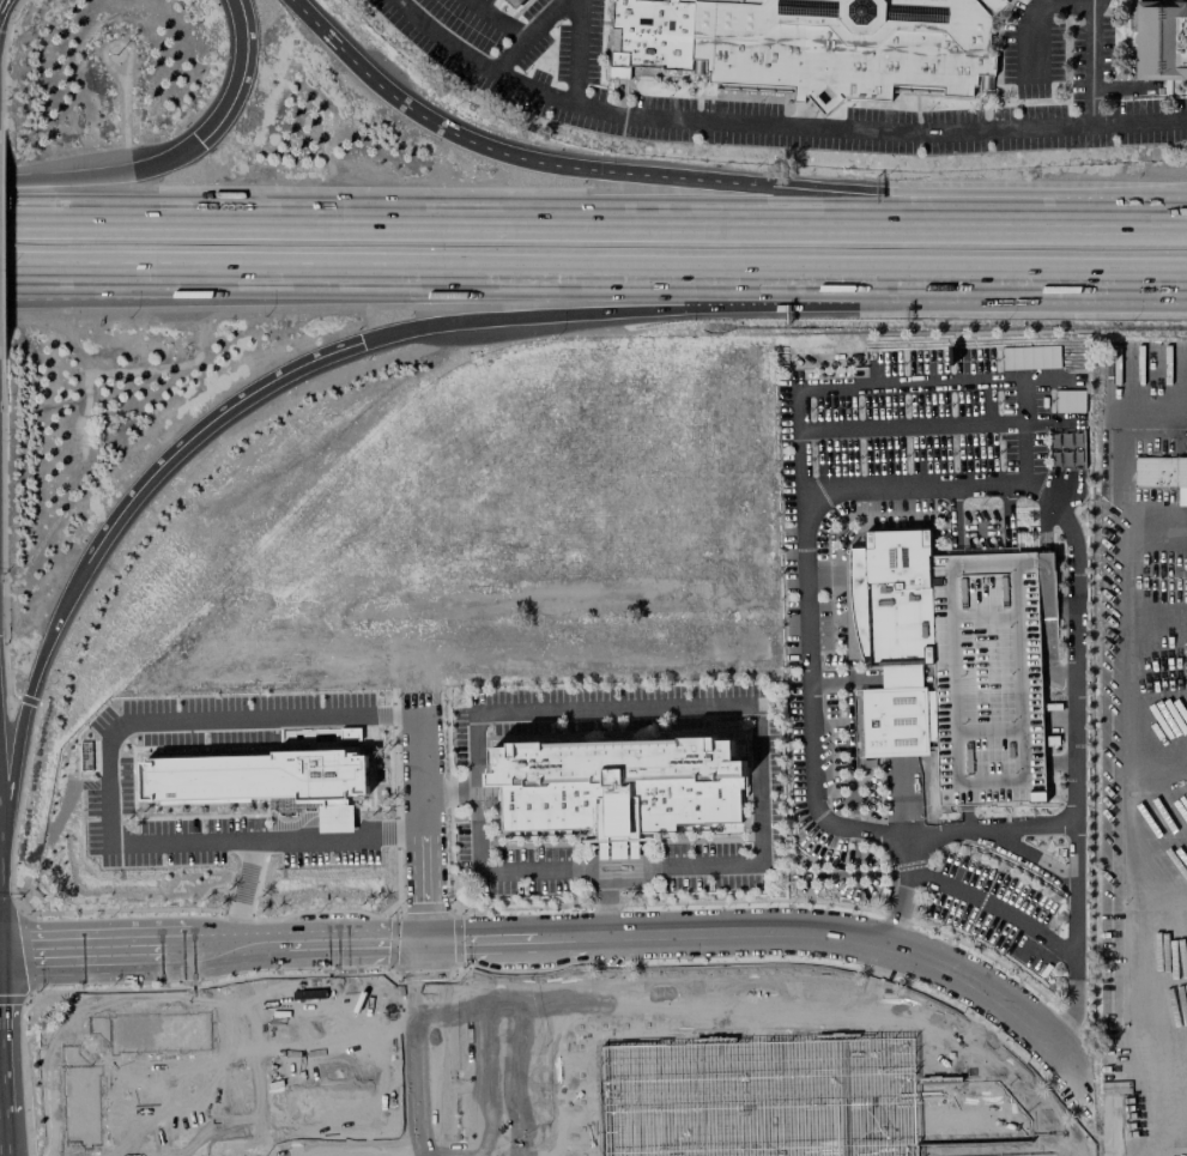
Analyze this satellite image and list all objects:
building: (514, 4)
road: (1032, 10)
road: (498, 17)
road: (319, 24)
road: (526, 35)
building: (650, 35)
building: (1161, 41)
building: (846, 48)
road: (577, 53)
road: (1091, 62)
road: (229, 78)
road: (776, 126)
road: (91, 174)
road: (692, 178)
road: (538, 214)
road: (1132, 219)
road: (200, 283)
road: (793, 284)
road: (97, 291)
road: (685, 308)
traffic signals: (364, 343)
road: (208, 432)
building: (1066, 449)
building: (1159, 472)
road: (929, 489)
building: (894, 638)
building: (987, 679)
parking garage: (987, 679)
road: (32, 696)
road: (734, 704)
road: (1126, 716)
building: (350, 733)
building: (256, 779)
road: (109, 785)
building: (617, 786)
road: (908, 801)
road: (423, 819)
road: (992, 828)
road: (509, 871)
road: (1001, 913)
road: (752, 936)
road: (211, 946)
road: (422, 952)
traffic signals: (18, 956)
road: (659, 995)
road: (430, 1021)
road: (411, 1047)
road: (248, 1049)
road: (515, 1049)
road: (985, 1052)
road: (477, 1063)
road: (1156, 1070)
building: (771, 1091)
road: (516, 1101)
road: (432, 1106)
road: (1126, 1113)
road: (137, 1121)
road: (424, 1139)
road: (516, 1148)
road: (338, 1152)
road: (75, 1155)
road: (86, 1155)
road: (98, 1155)
road: (121, 1155)

